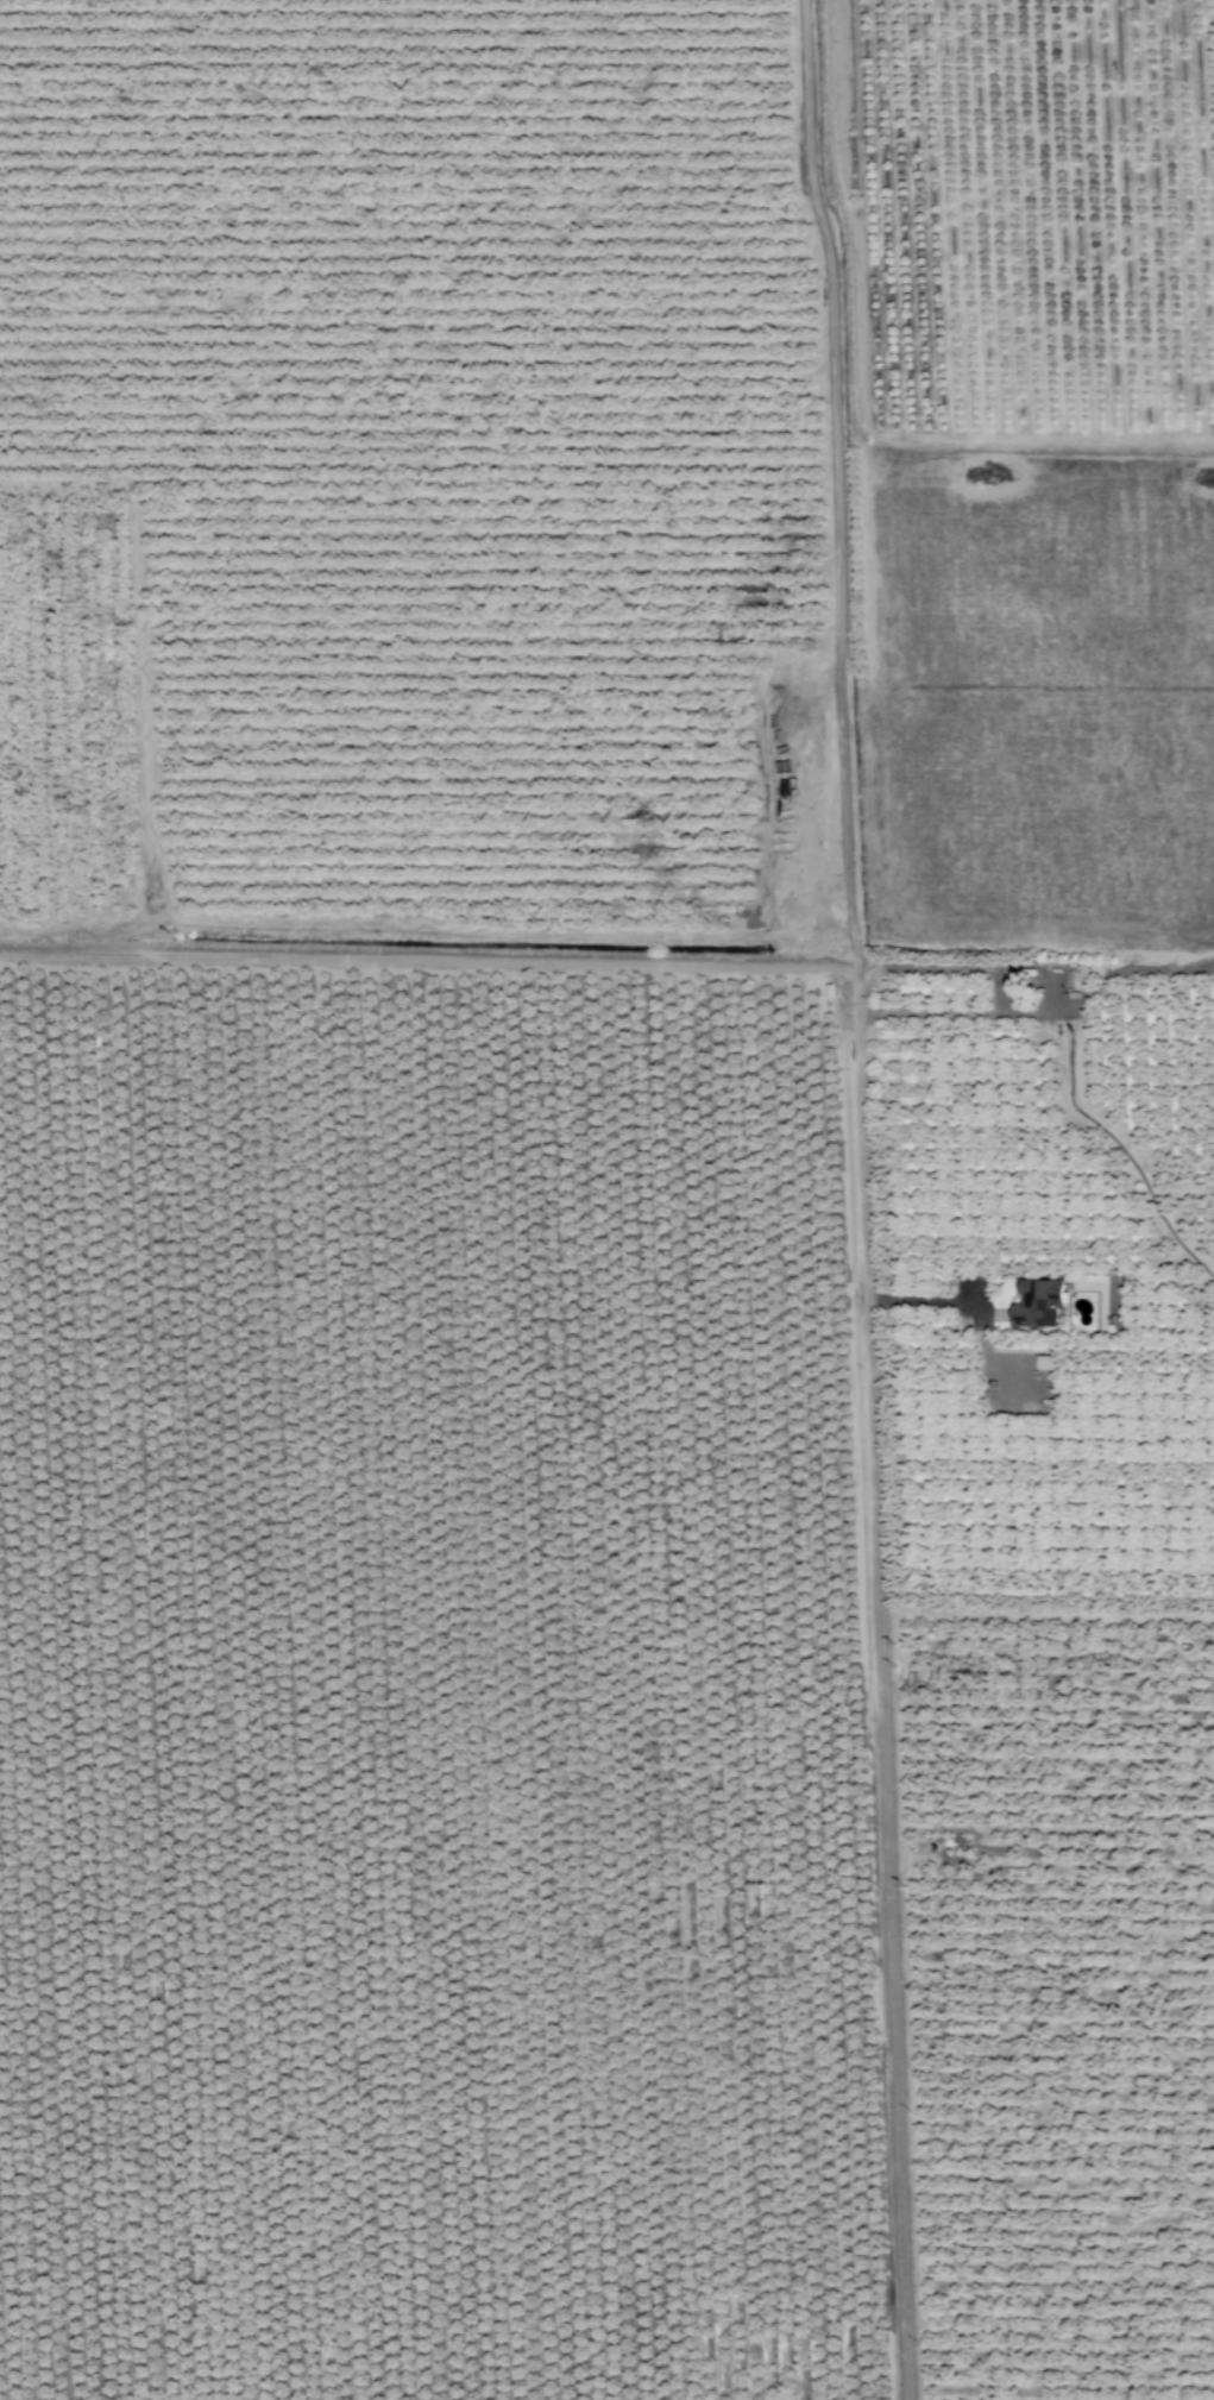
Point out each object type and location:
road: (857, 1020)
road: (925, 1301)
building: (961, 1325)
road: (886, 1736)

